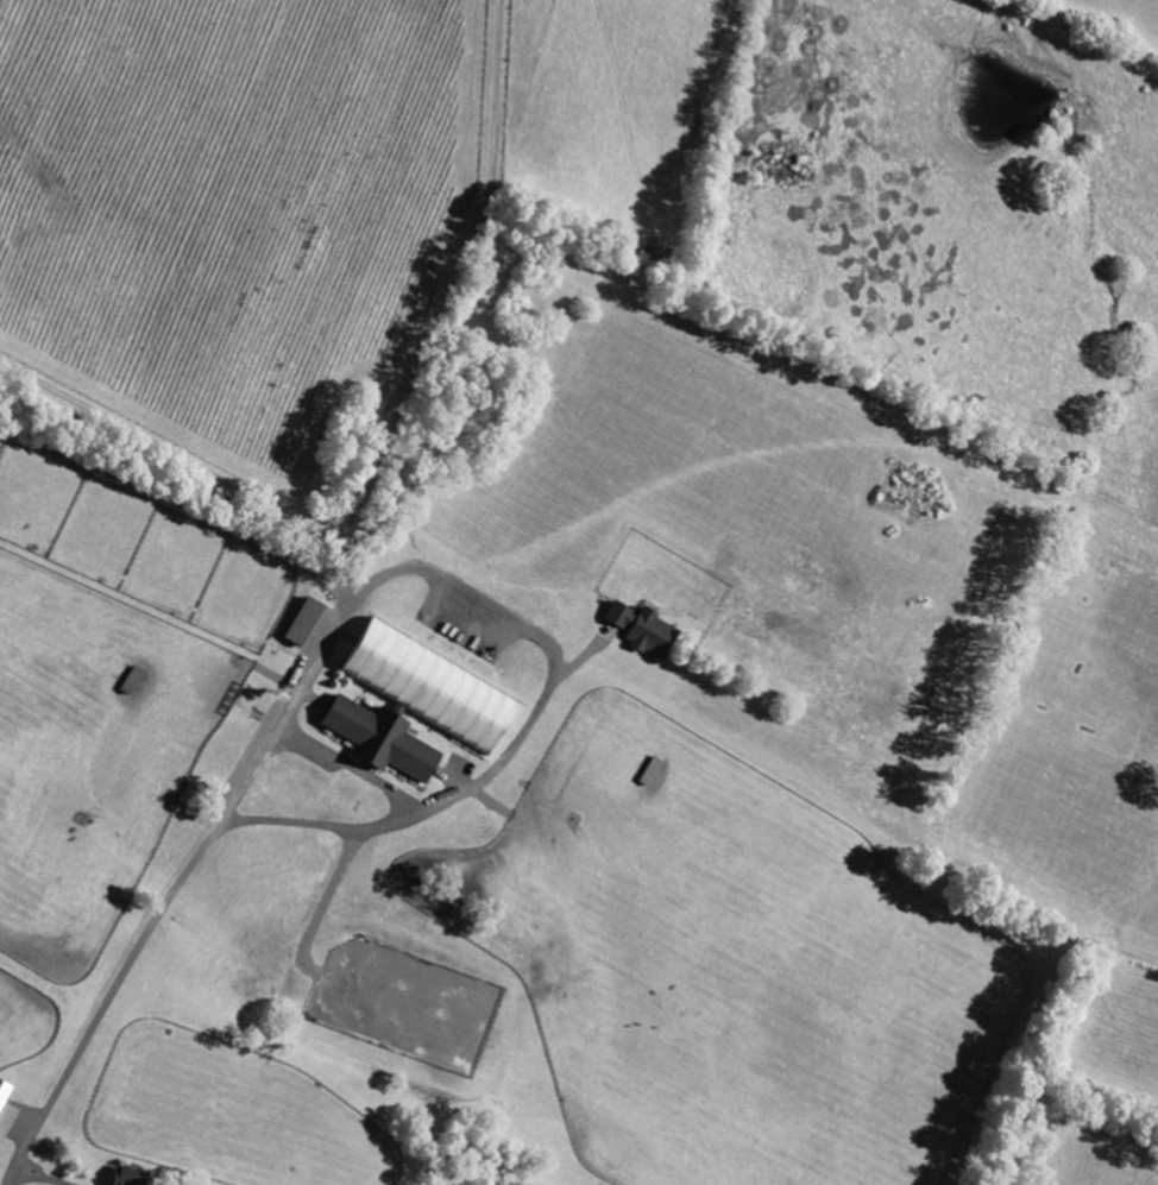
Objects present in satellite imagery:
road: (380, 450)
building: (301, 622)
road: (527, 629)
building: (640, 629)
building: (424, 686)
building: (376, 738)
road: (352, 768)
road: (107, 1001)
building: (4, 1091)
building: (122, 1177)
road: (37, 1178)

